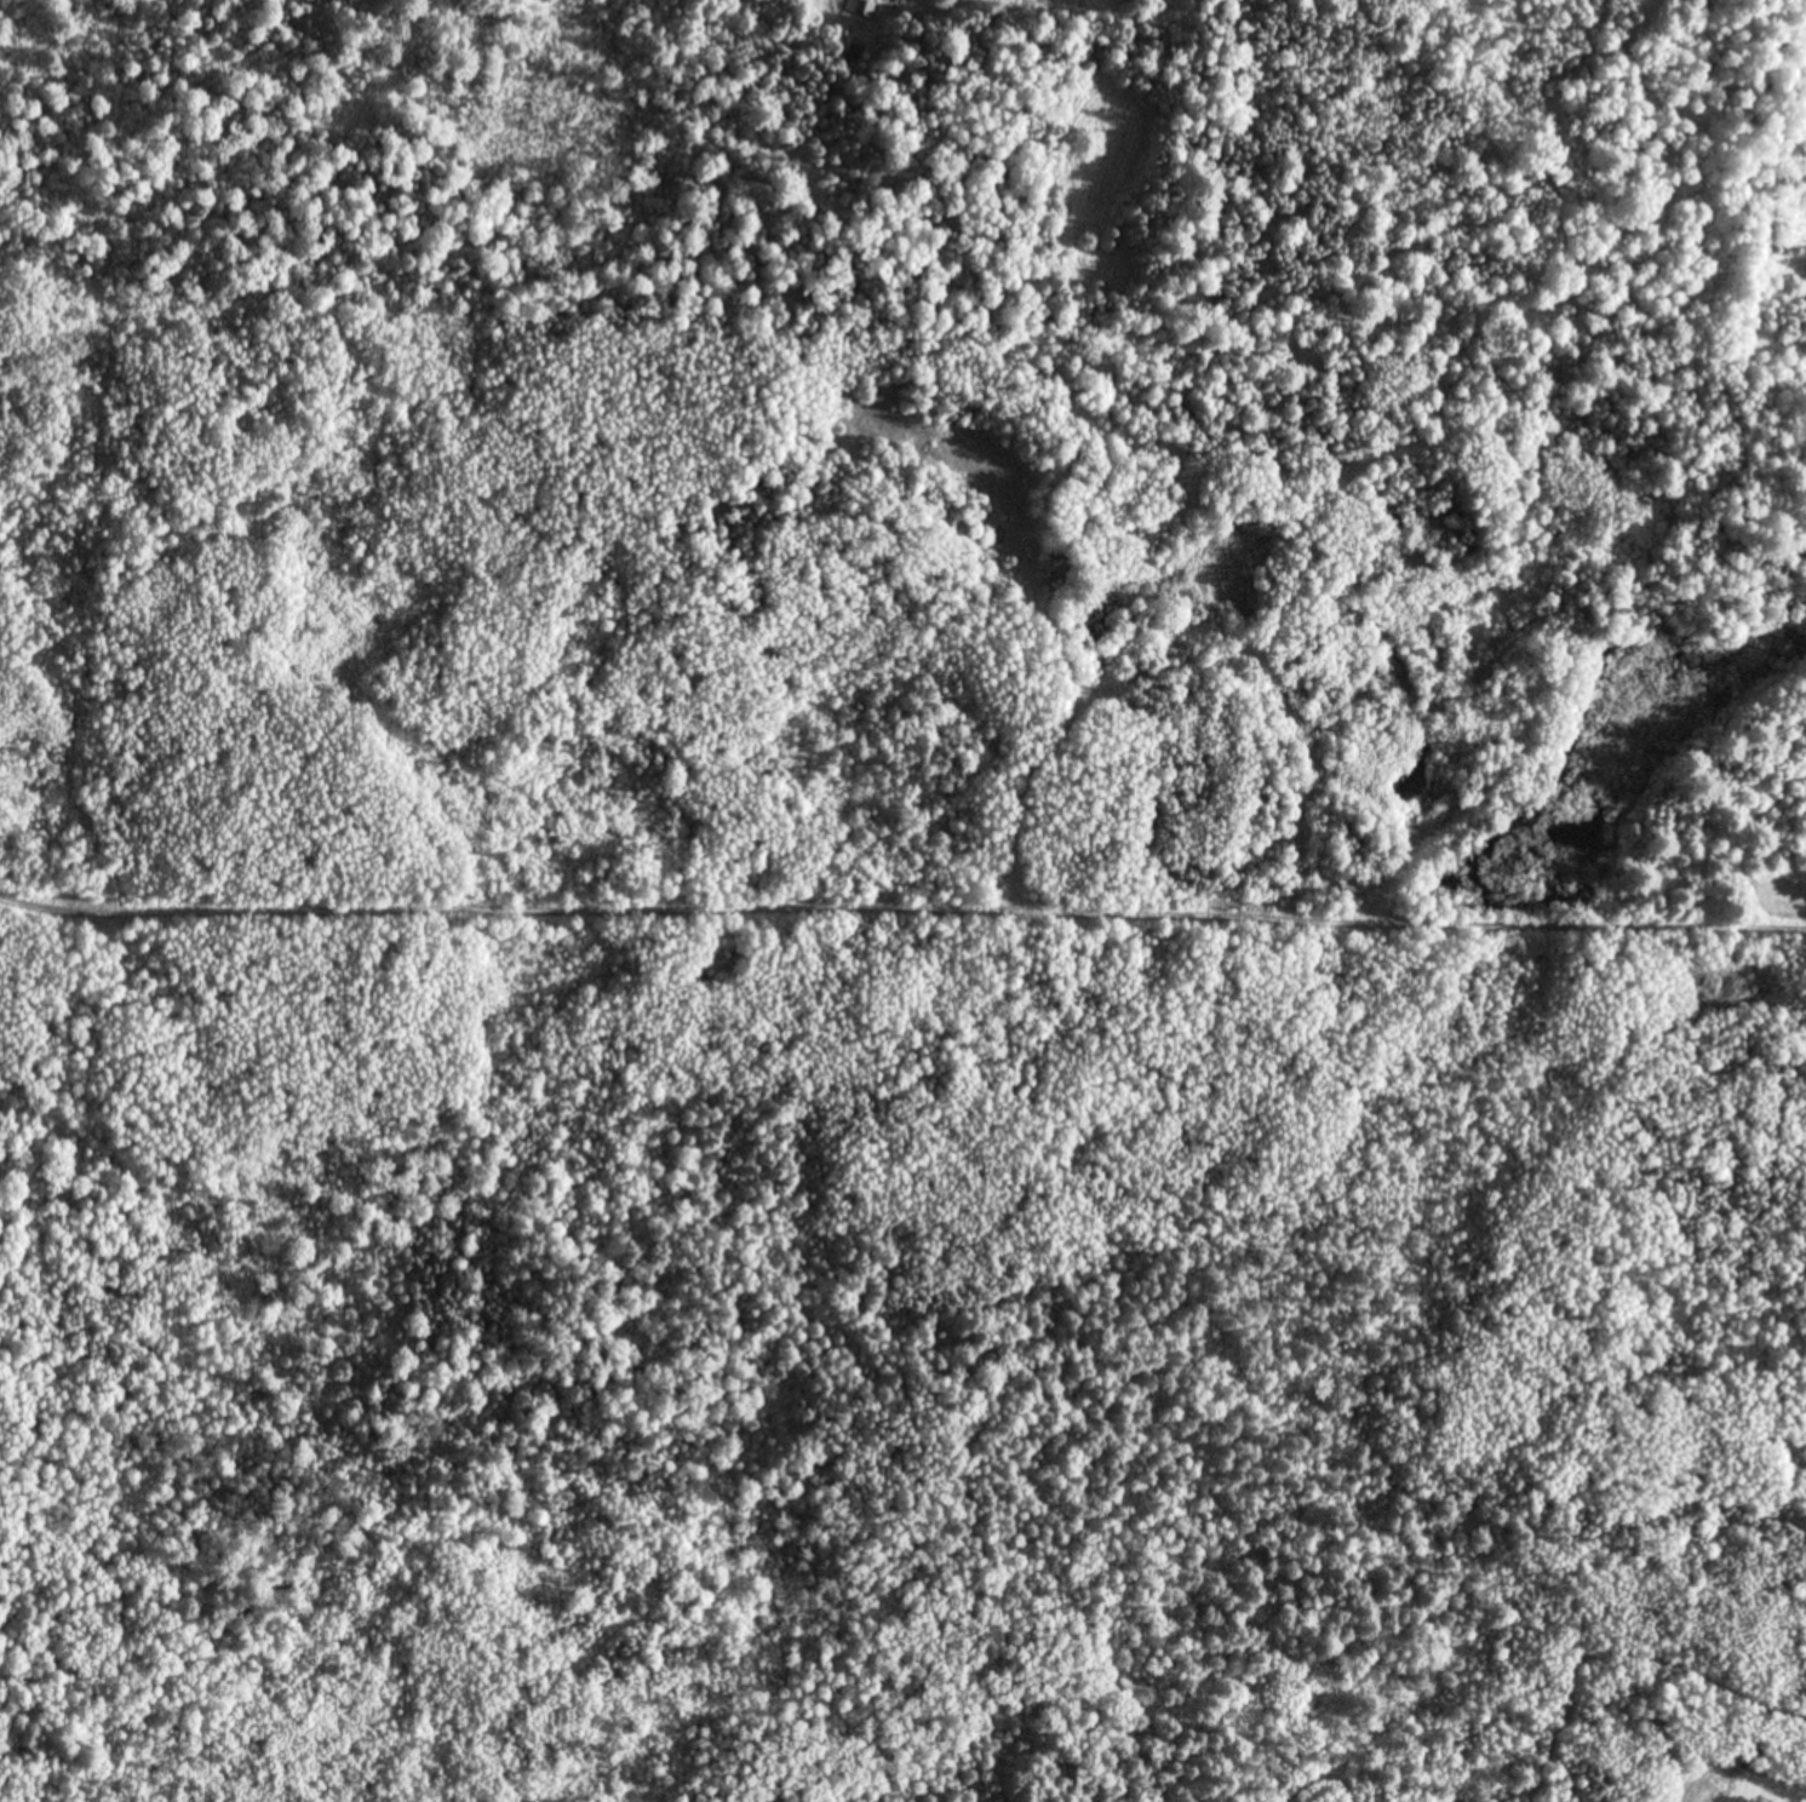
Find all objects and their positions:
road: (902, 906)

